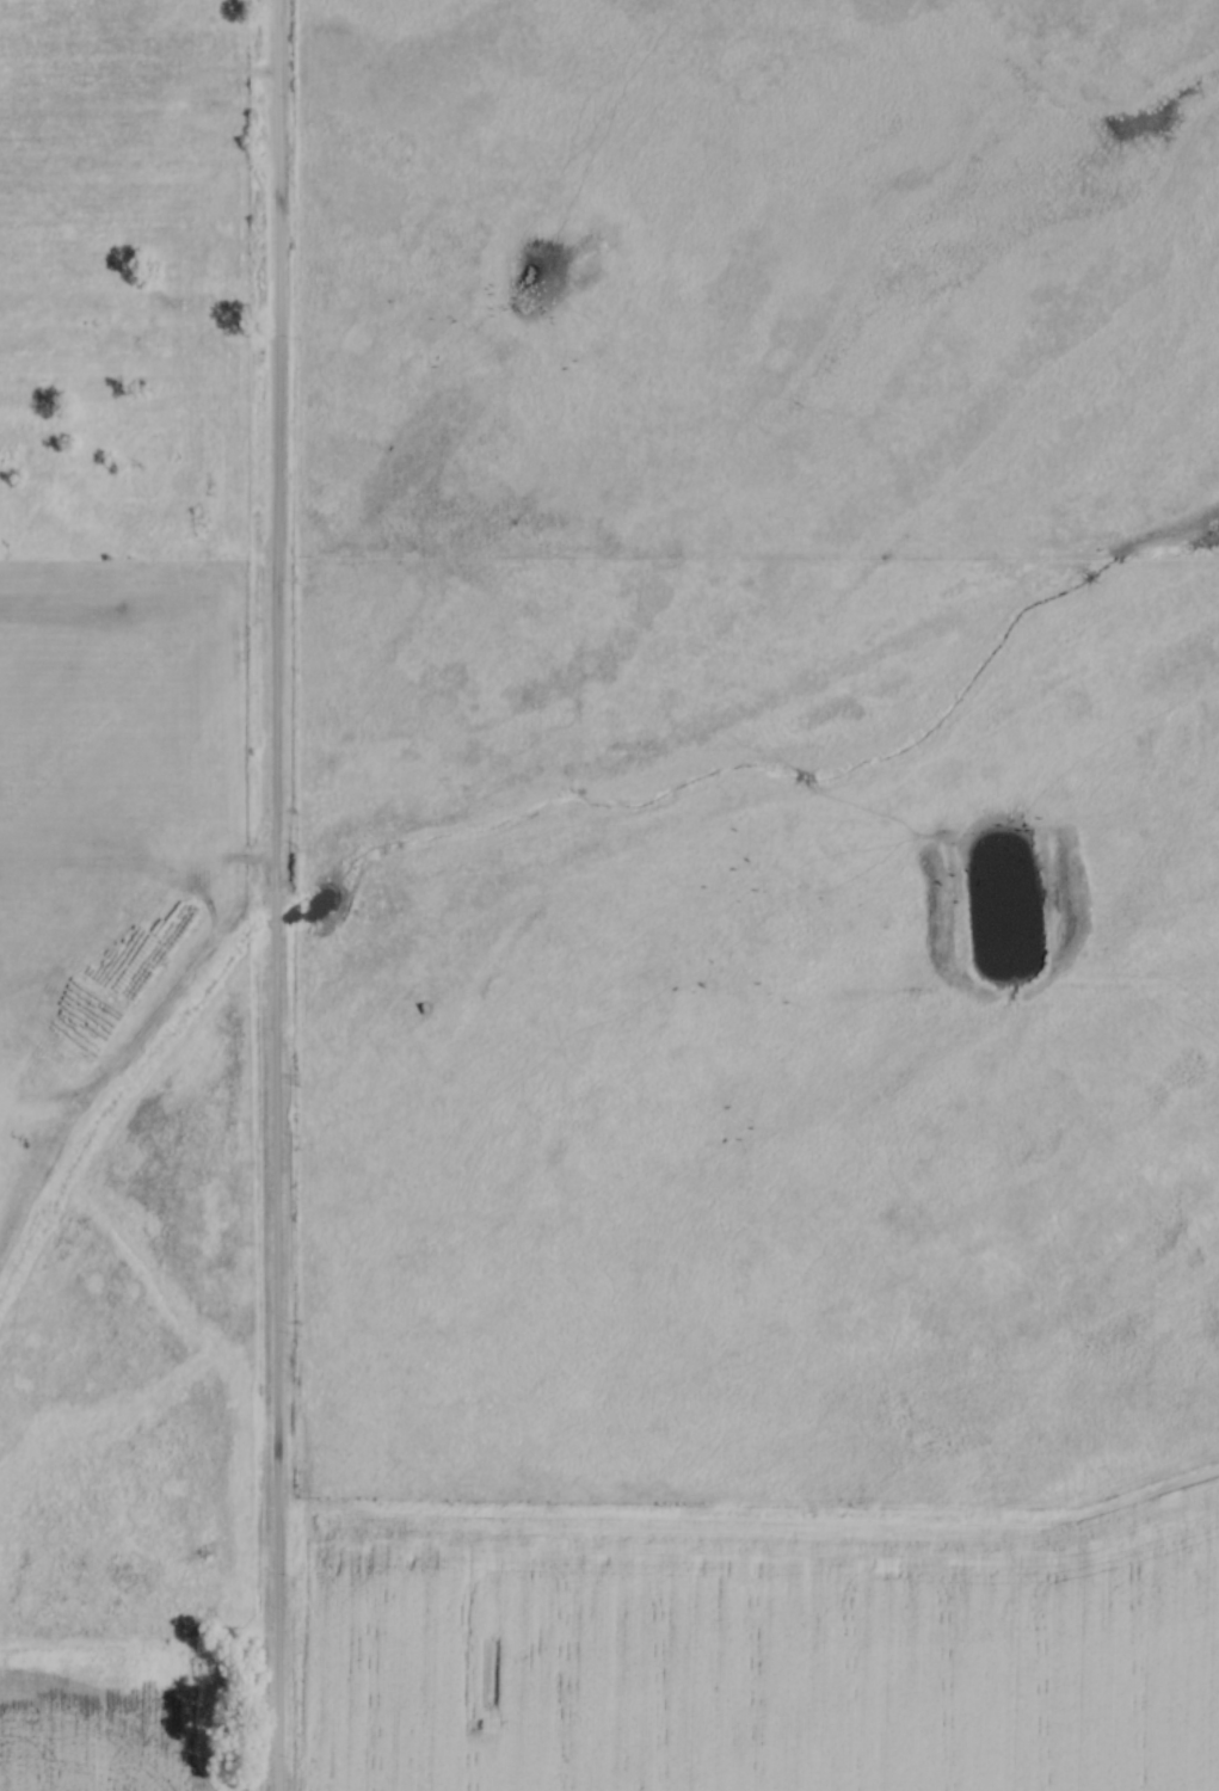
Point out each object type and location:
road: (271, 445)
river: (540, 804)
road: (272, 921)
road: (271, 1371)

